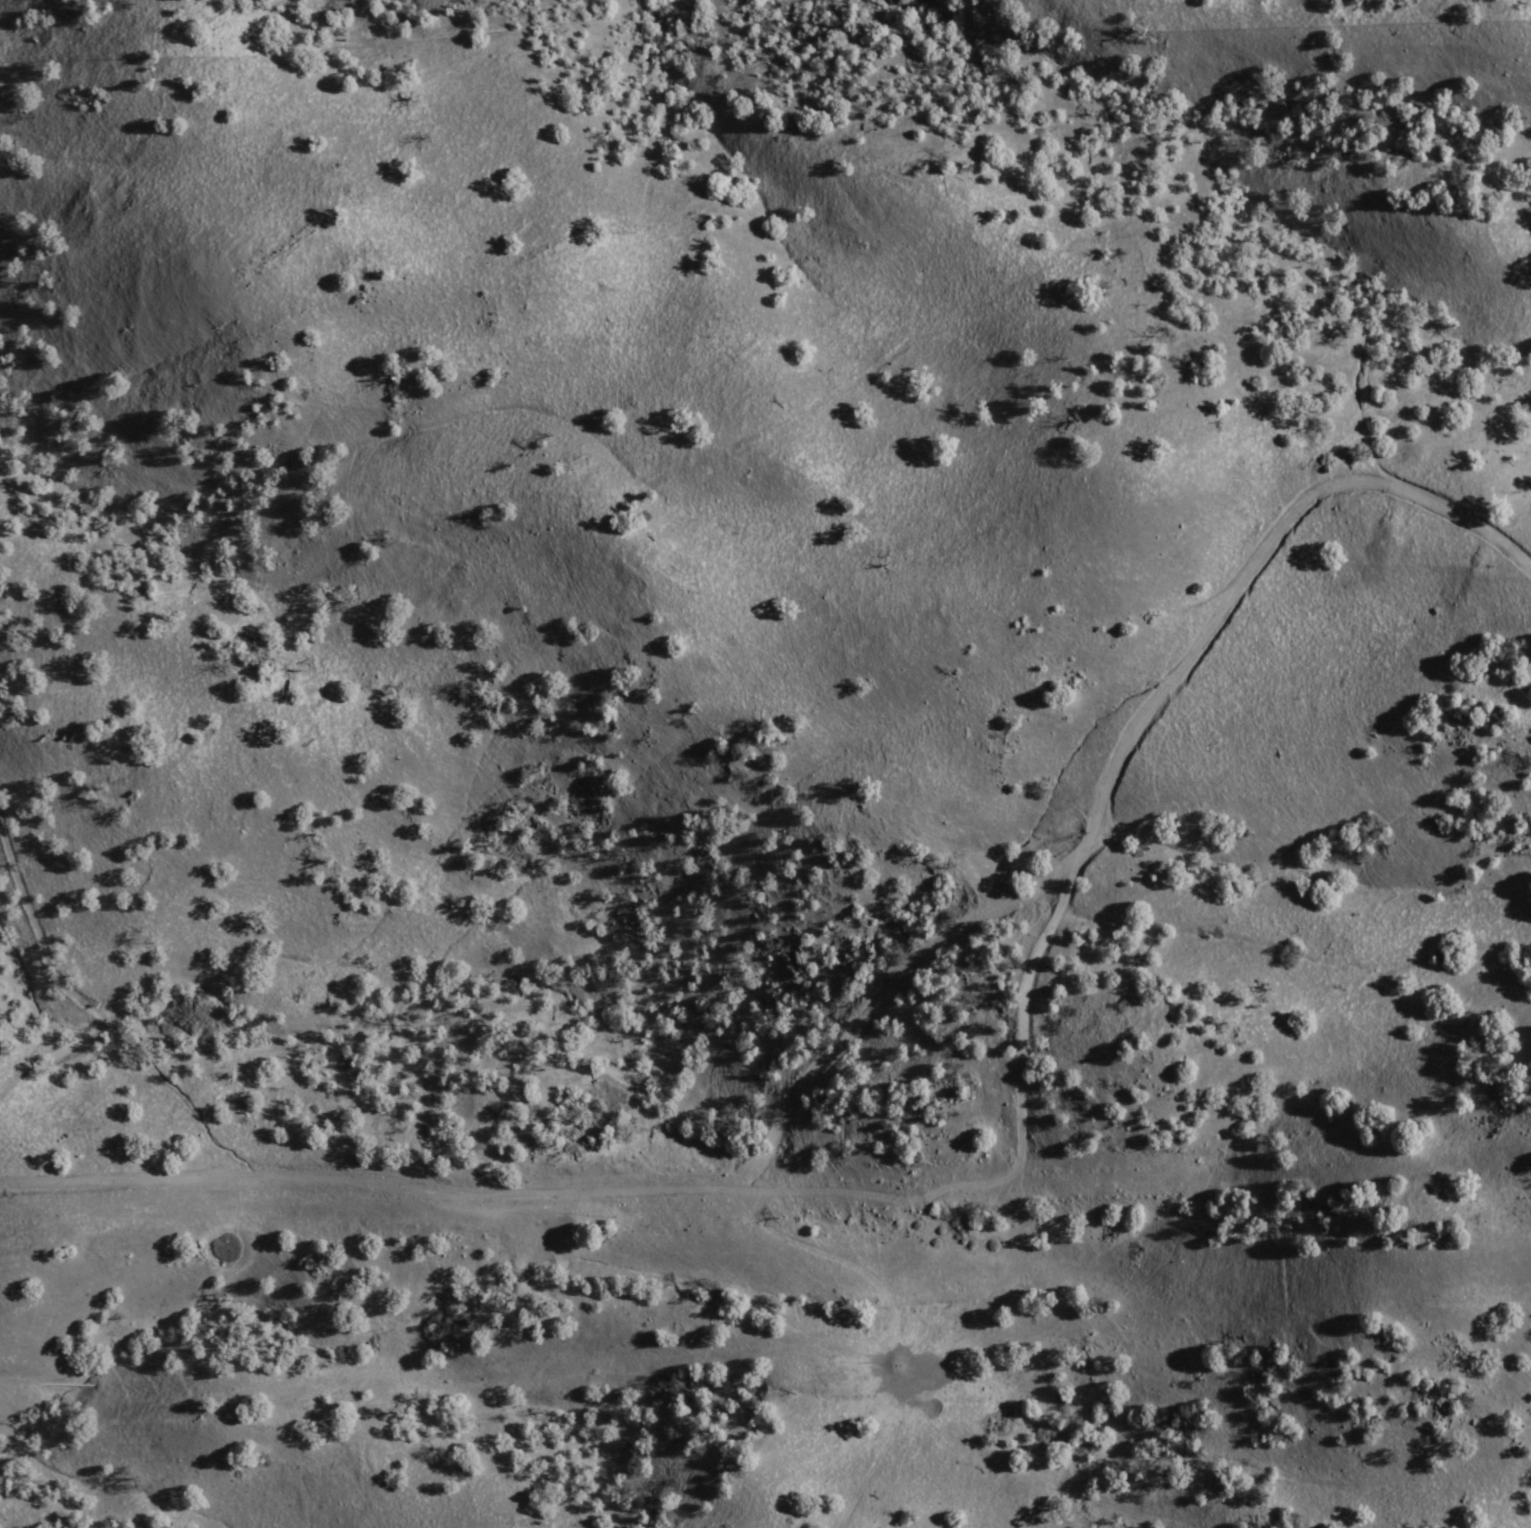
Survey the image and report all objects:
road: (864, 1026)

